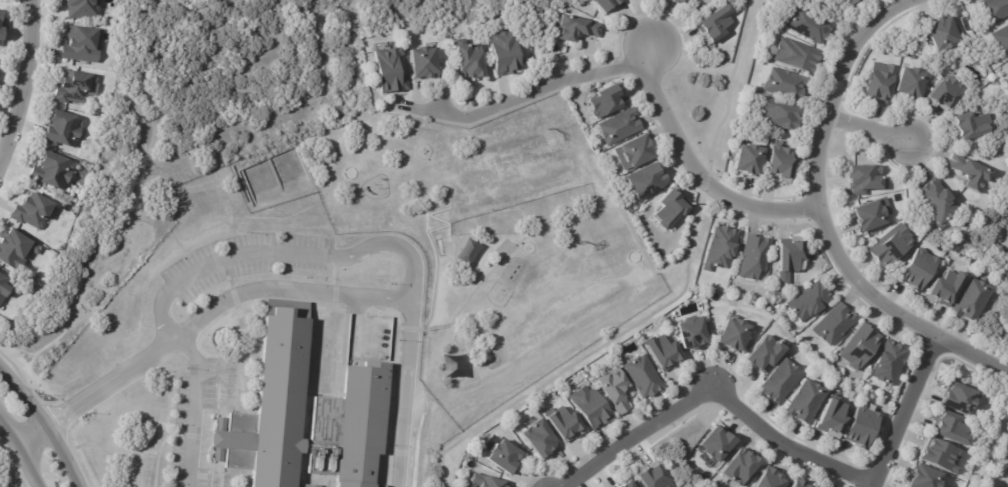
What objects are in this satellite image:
building: (644, 0)
building: (679, 1)
building: (847, 1)
building: (855, 1)
building: (609, 4)
building: (83, 9)
building: (994, 10)
road: (673, 24)
building: (717, 25)
building: (810, 25)
building: (1, 27)
building: (576, 28)
building: (944, 34)
building: (1001, 40)
building: (83, 44)
building: (507, 52)
building: (798, 56)
building: (472, 60)
building: (427, 62)
building: (392, 67)
road: (24, 82)
building: (912, 83)
building: (785, 84)
building: (883, 84)
building: (75, 87)
building: (946, 94)
road: (517, 98)
building: (605, 101)
building: (781, 114)
road: (870, 126)
building: (63, 127)
building: (621, 127)
building: (970, 127)
building: (637, 153)
building: (748, 160)
building: (782, 164)
road: (696, 169)
building: (52, 170)
building: (973, 173)
building: (868, 179)
building: (648, 181)
building: (940, 202)
building: (671, 207)
building: (33, 212)
road: (821, 216)
building: (870, 216)
building: (892, 245)
building: (723, 246)
building: (16, 250)
building: (755, 254)
road: (282, 258)
building: (789, 259)
building: (919, 270)
building: (4, 288)
building: (945, 289)
road: (279, 292)
building: (809, 300)
building: (974, 300)
building: (835, 323)
building: (692, 332)
building: (735, 333)
building: (860, 346)
building: (663, 350)
building: (765, 354)
building: (890, 362)
building: (324, 365)
building: (644, 375)
building: (781, 380)
building: (615, 390)
building: (963, 396)
road: (718, 397)
building: (808, 399)
building: (591, 406)
road: (190, 408)
road: (906, 408)
building: (304, 416)
building: (834, 418)
building: (565, 422)
building: (952, 424)
road: (44, 425)
building: (863, 426)
building: (535, 437)
building: (720, 442)
building: (940, 454)
building: (505, 456)
road: (15, 460)
park: (447, 467)
building: (741, 467)
building: (652, 476)
building: (928, 476)
building: (771, 478)
building: (486, 481)
building: (800, 483)
building: (628, 484)
building: (312, 485)
road: (874, 485)

